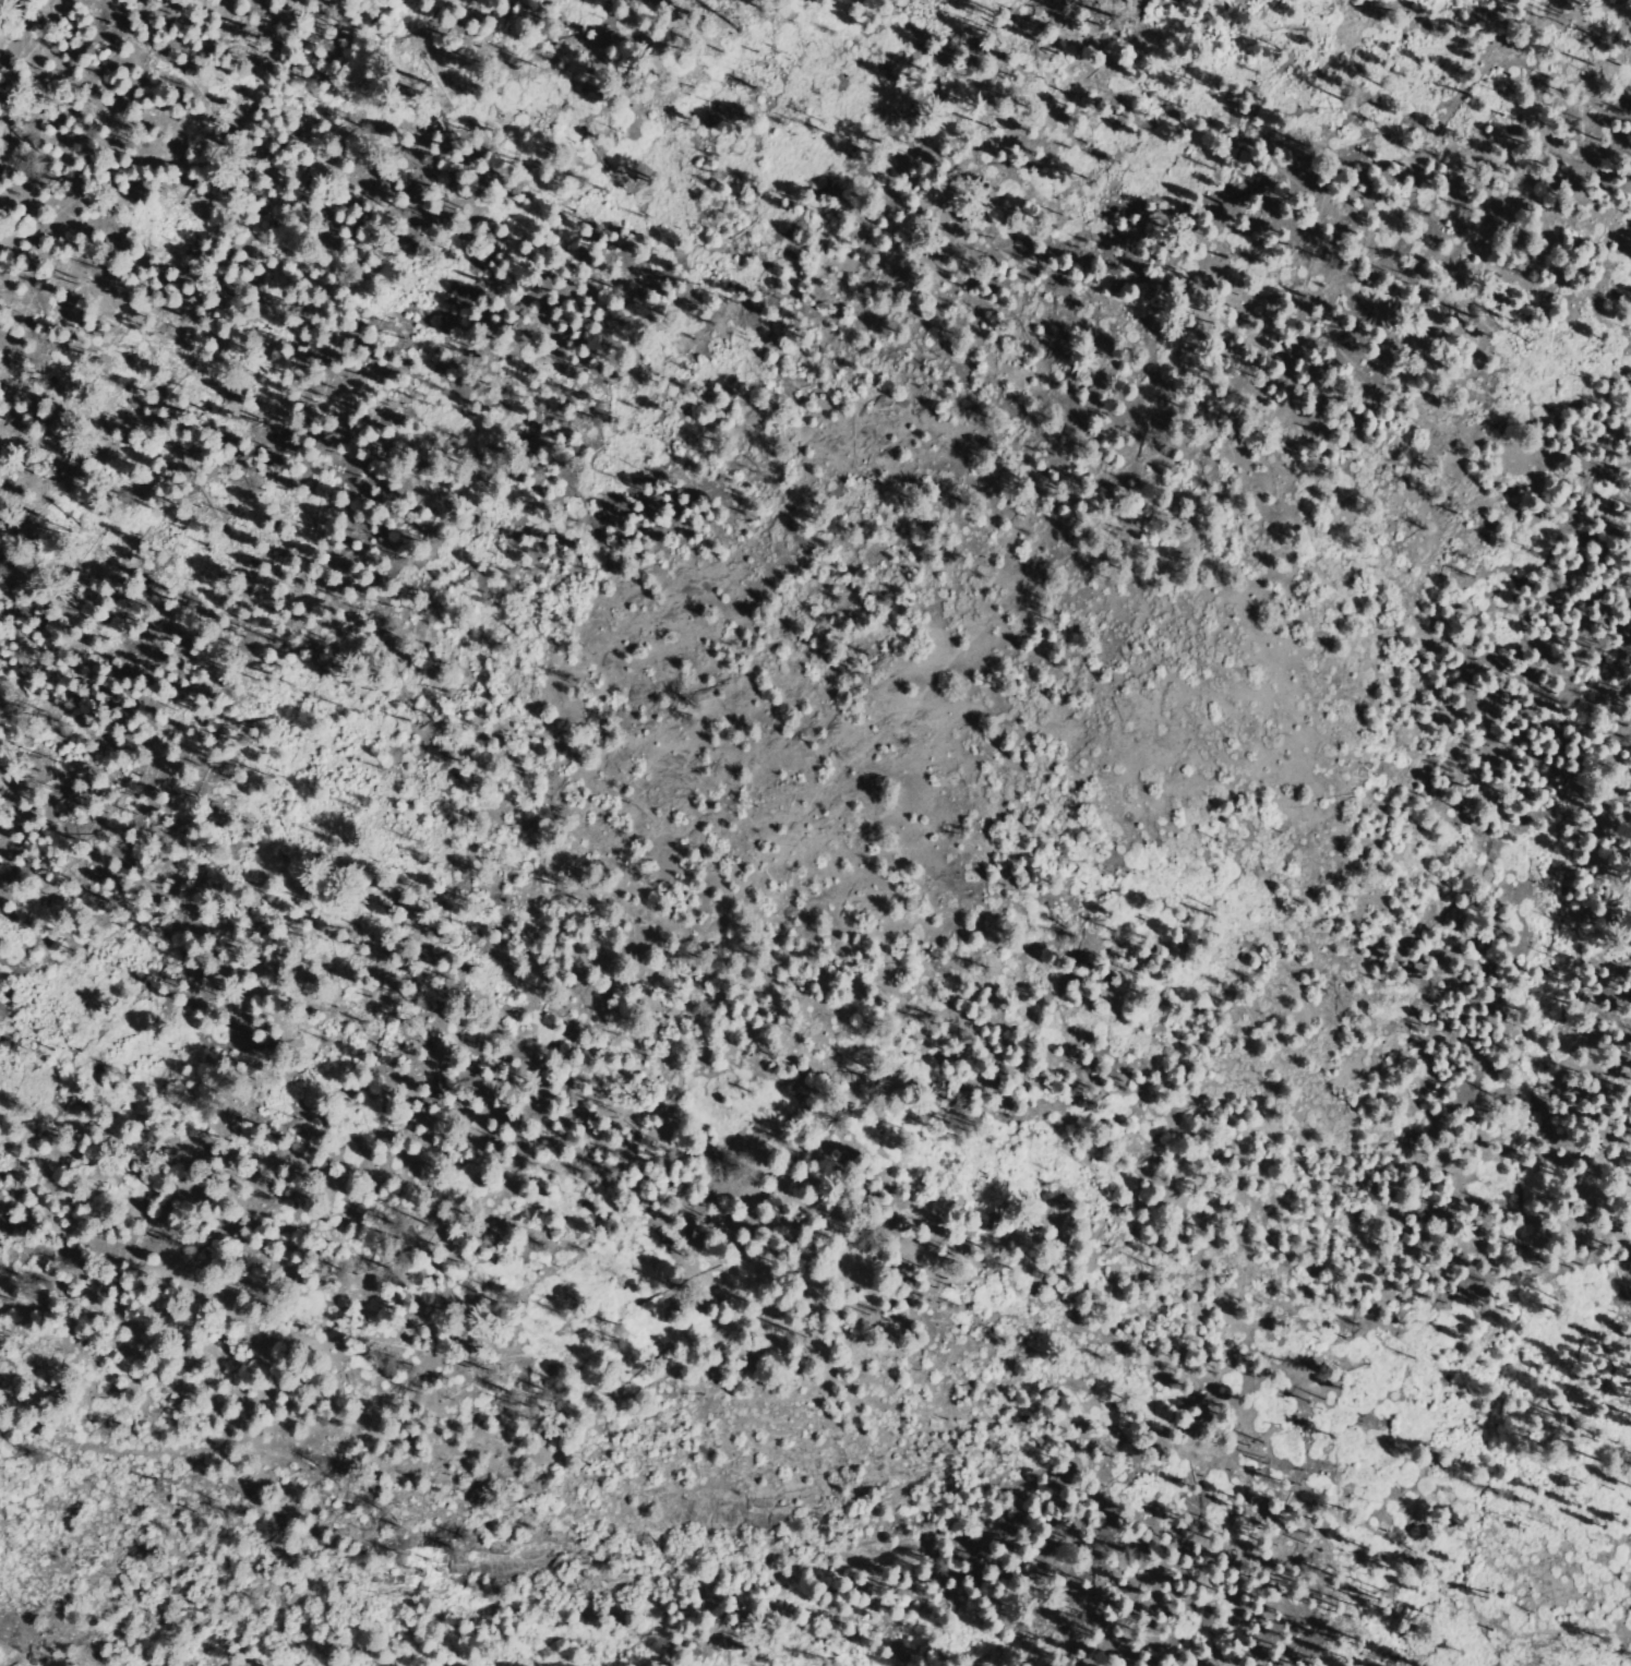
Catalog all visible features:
road: (934, 682)
road: (1016, 1422)
road: (184, 1455)

